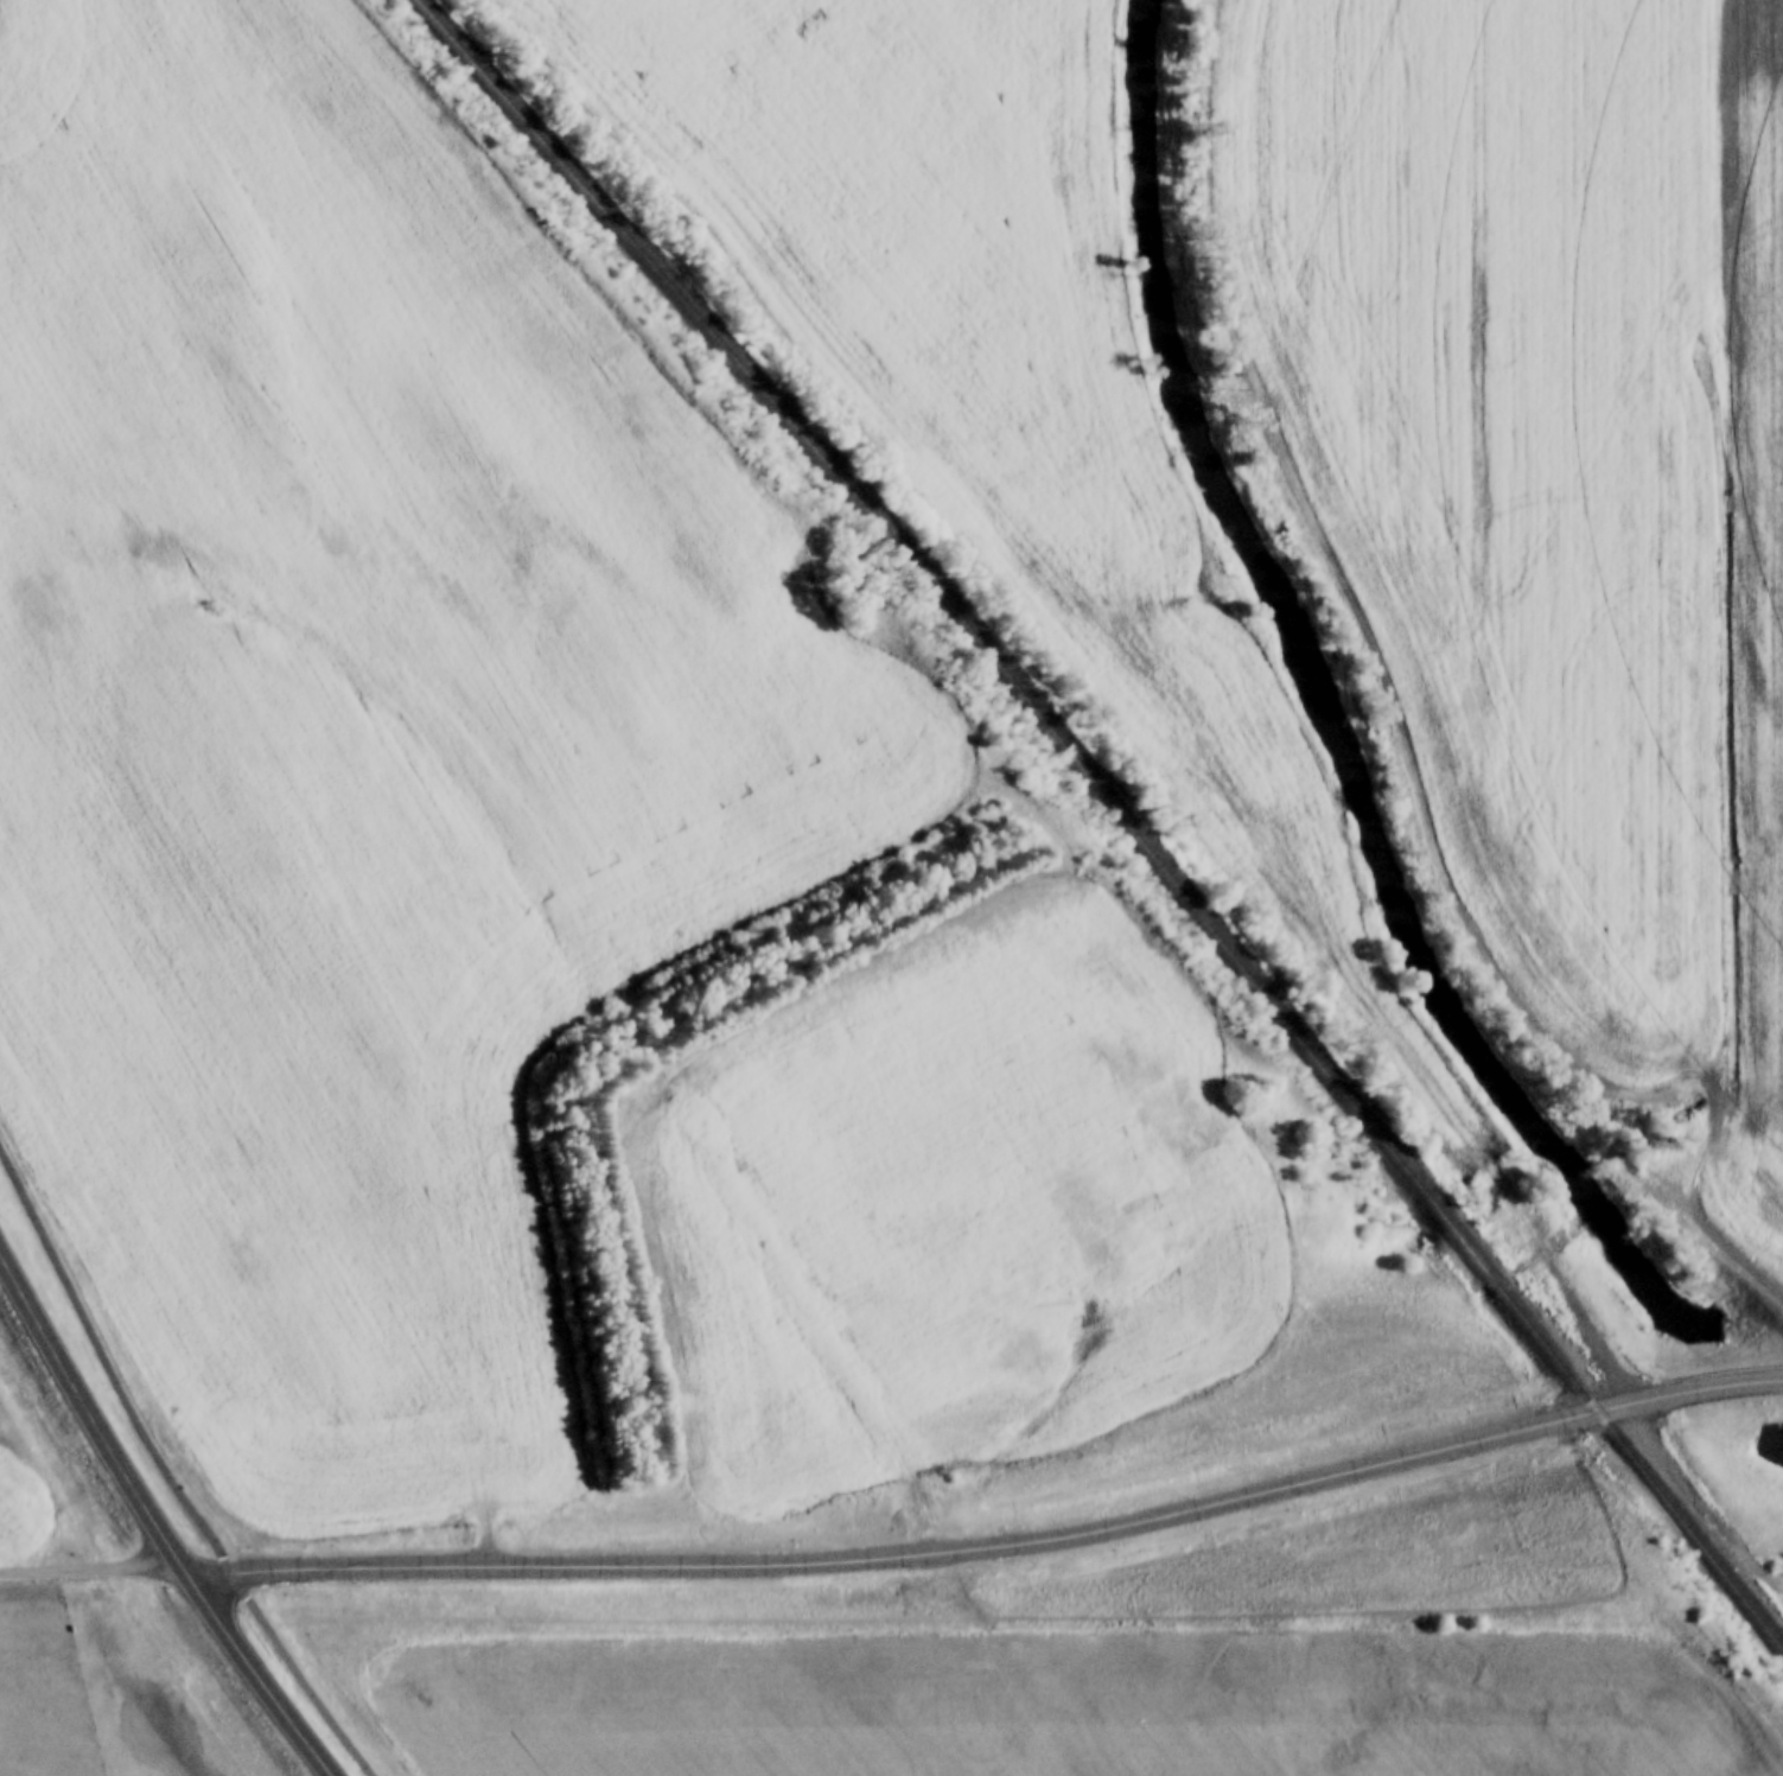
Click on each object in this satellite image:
railway: (1119, 810)
road: (1507, 985)
road: (811, 1306)
road: (167, 1475)
road: (155, 1529)
road: (992, 1547)
road: (93, 1578)

